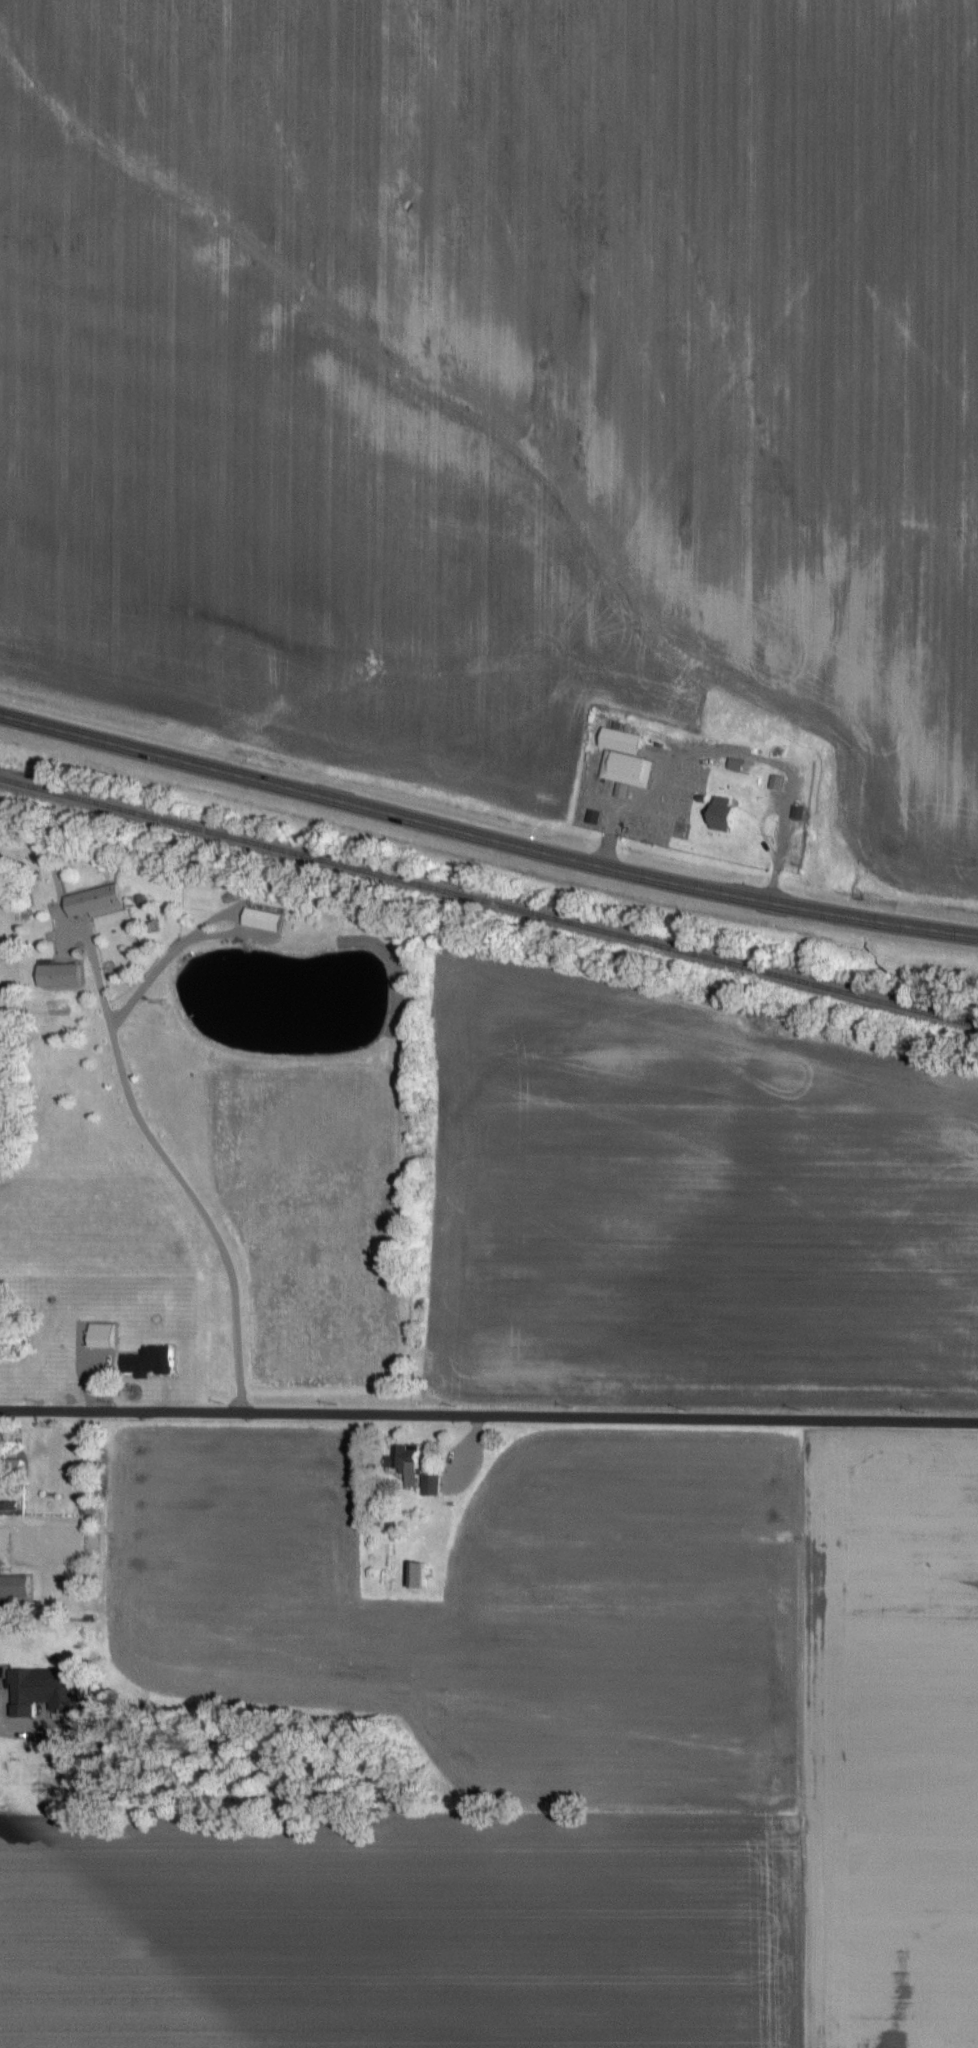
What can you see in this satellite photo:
building: (621, 759)
building: (774, 782)
building: (719, 813)
road: (486, 843)
building: (89, 901)
railway: (488, 912)
building: (257, 919)
building: (54, 973)
road: (168, 1164)
building: (96, 1335)
building: (136, 1362)
road: (489, 1416)
building: (400, 1459)
building: (8, 1464)
building: (427, 1484)
building: (413, 1575)
building: (11, 1585)
building: (40, 1690)
road: (18, 1734)

